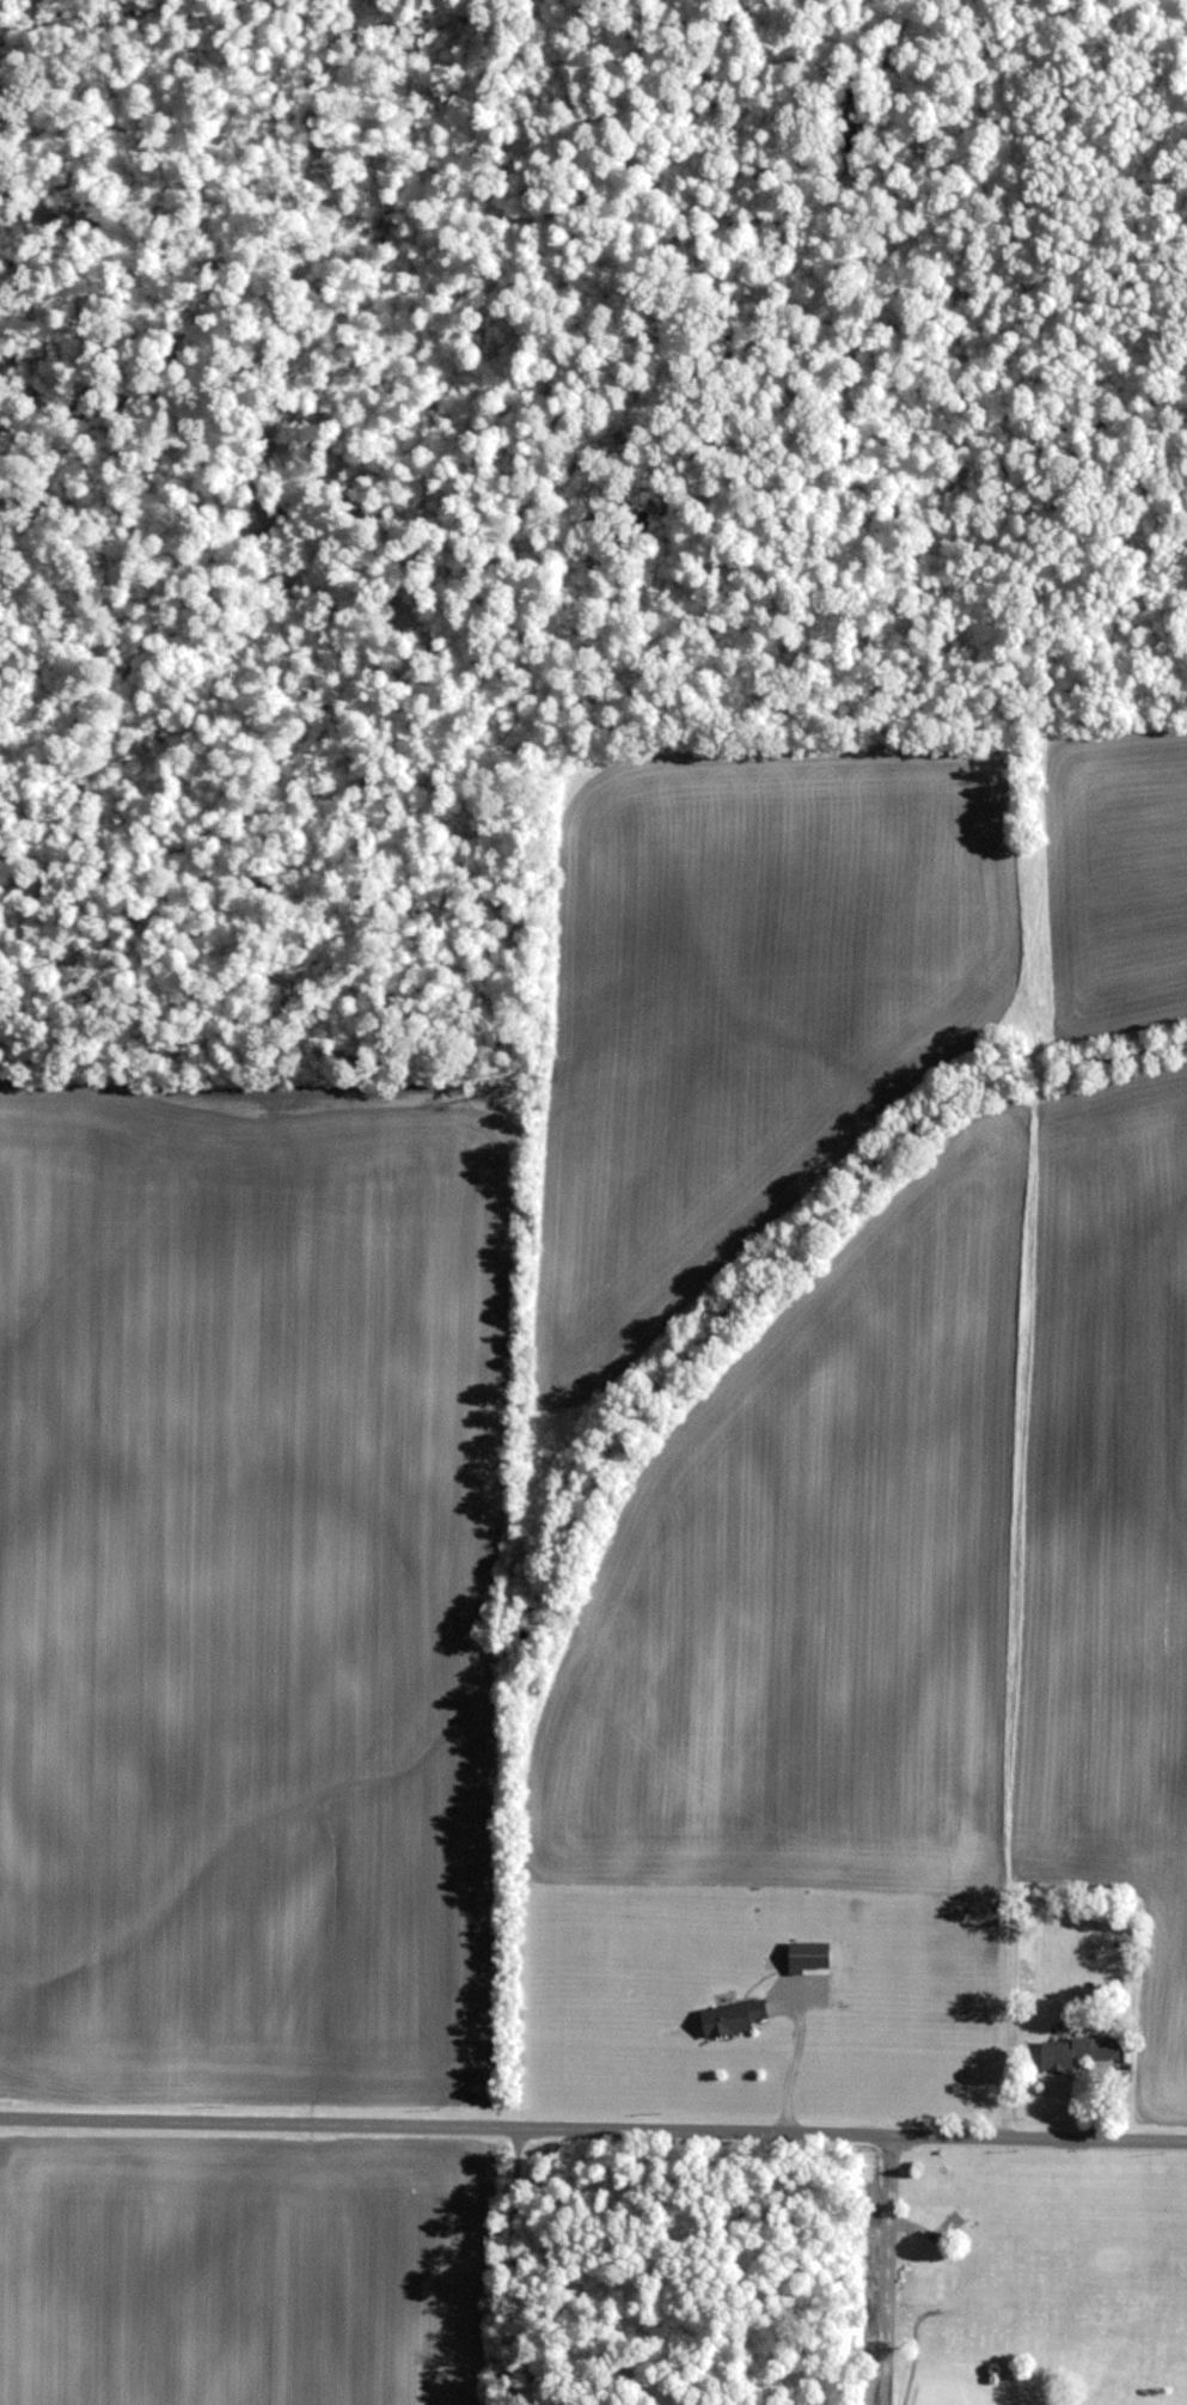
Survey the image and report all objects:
road: (593, 2132)
road: (885, 2271)

